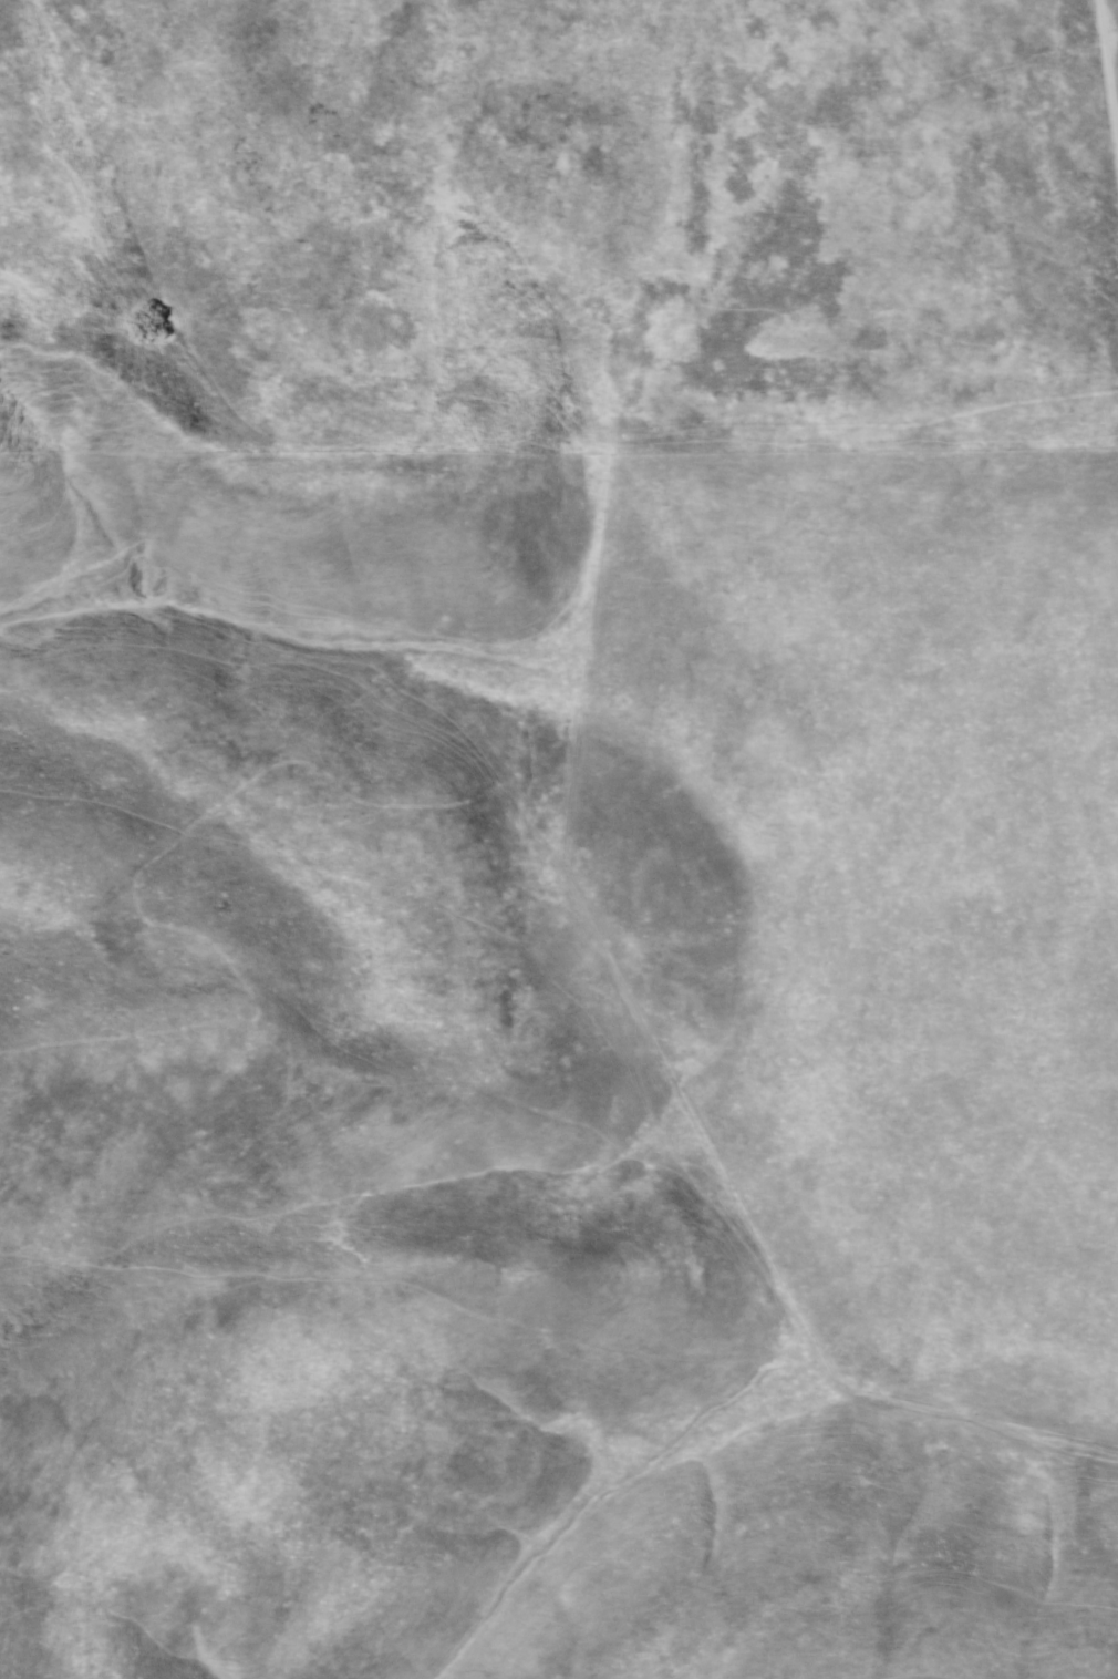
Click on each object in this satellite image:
road: (1110, 49)

